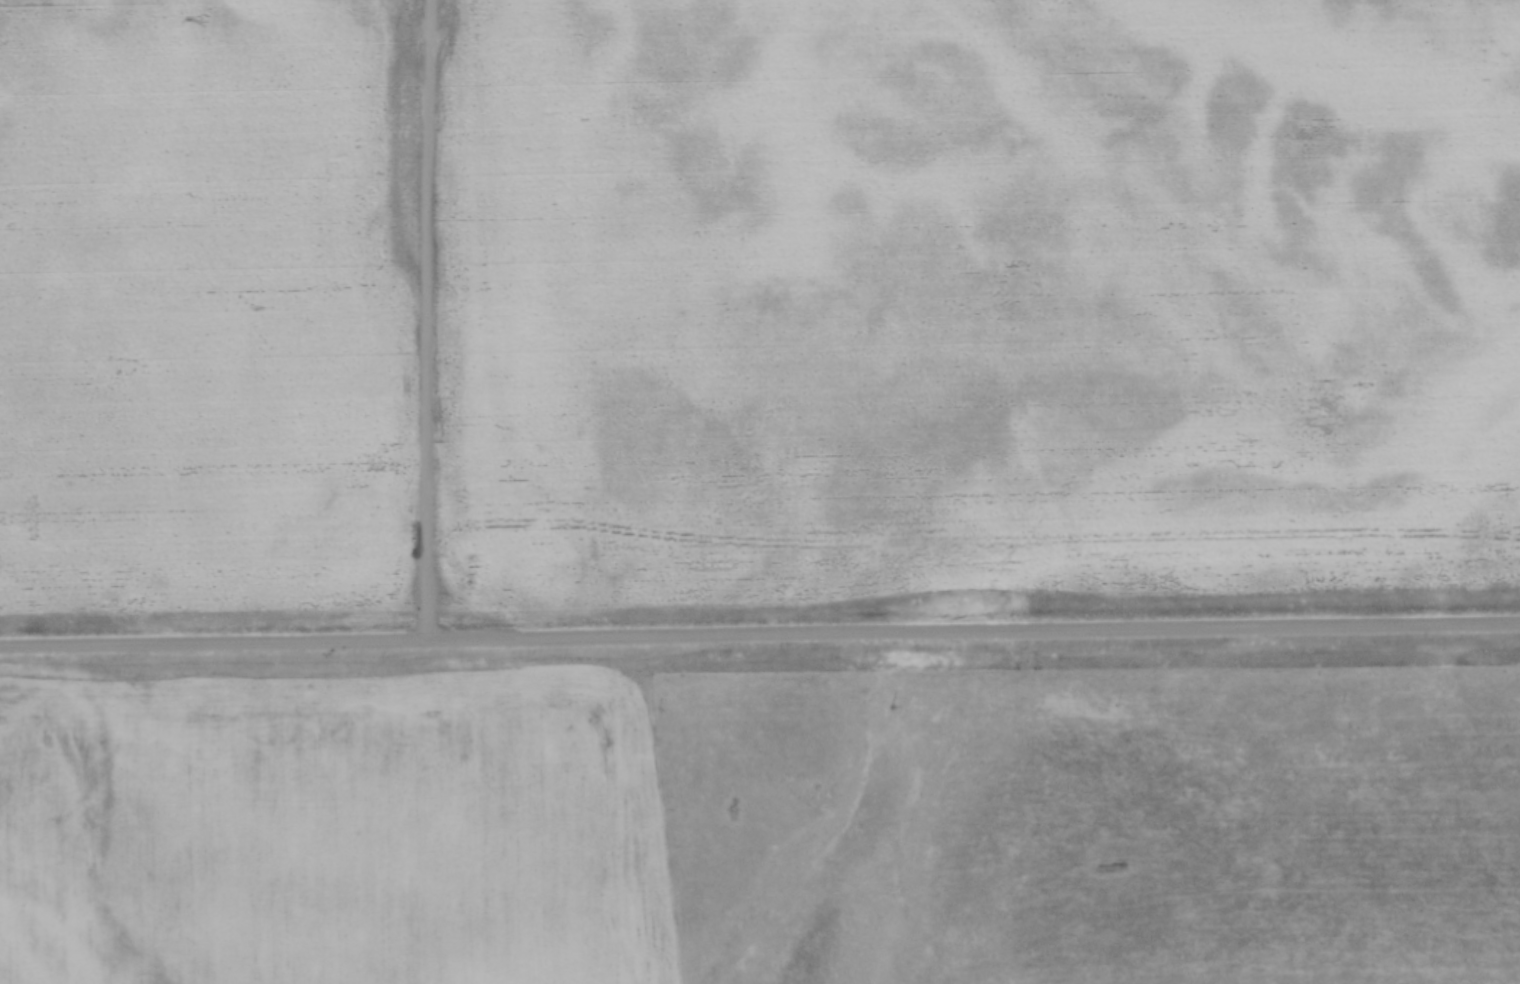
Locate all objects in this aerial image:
road: (760, 635)
road: (968, 804)

